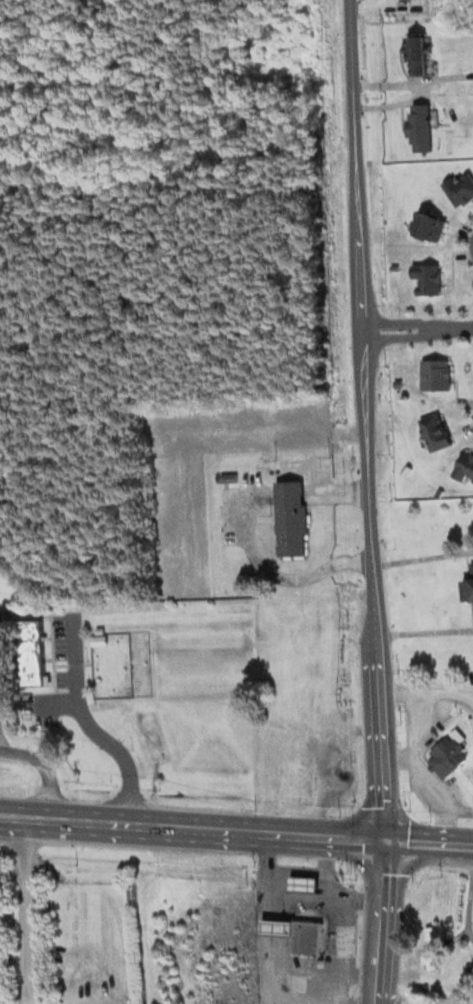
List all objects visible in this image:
building: (418, 56)
building: (420, 128)
building: (461, 187)
building: (430, 227)
building: (392, 267)
building: (427, 278)
road: (399, 320)
road: (456, 327)
road: (400, 336)
building: (437, 374)
building: (397, 382)
road: (363, 420)
building: (436, 431)
building: (462, 466)
building: (229, 478)
building: (437, 490)
building: (291, 518)
road: (421, 559)
building: (337, 574)
building: (470, 583)
road: (423, 632)
building: (34, 653)
building: (449, 751)
road: (44, 768)
road: (190, 827)
traffic signals: (380, 839)
road: (424, 842)
road: (471, 845)
road: (13, 871)
building: (307, 884)
road: (26, 911)
road: (376, 921)
building: (298, 933)
building: (430, 947)
building: (470, 973)
building: (423, 986)

